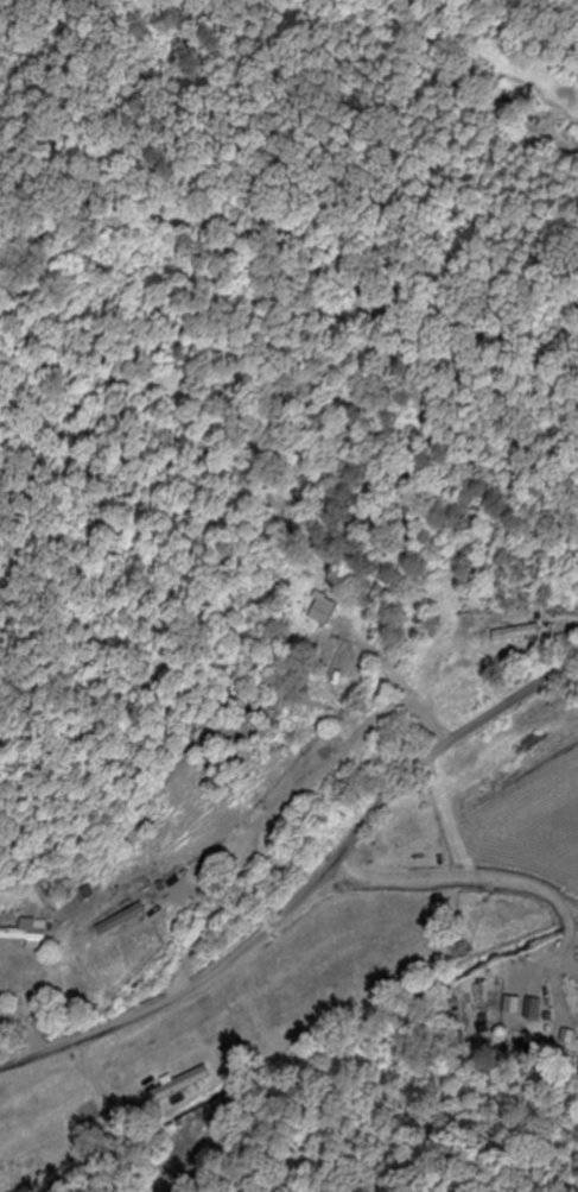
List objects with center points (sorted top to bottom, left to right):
building: (404, 821)
road: (305, 893)
building: (121, 921)
building: (26, 933)
building: (532, 1011)
building: (180, 1086)

